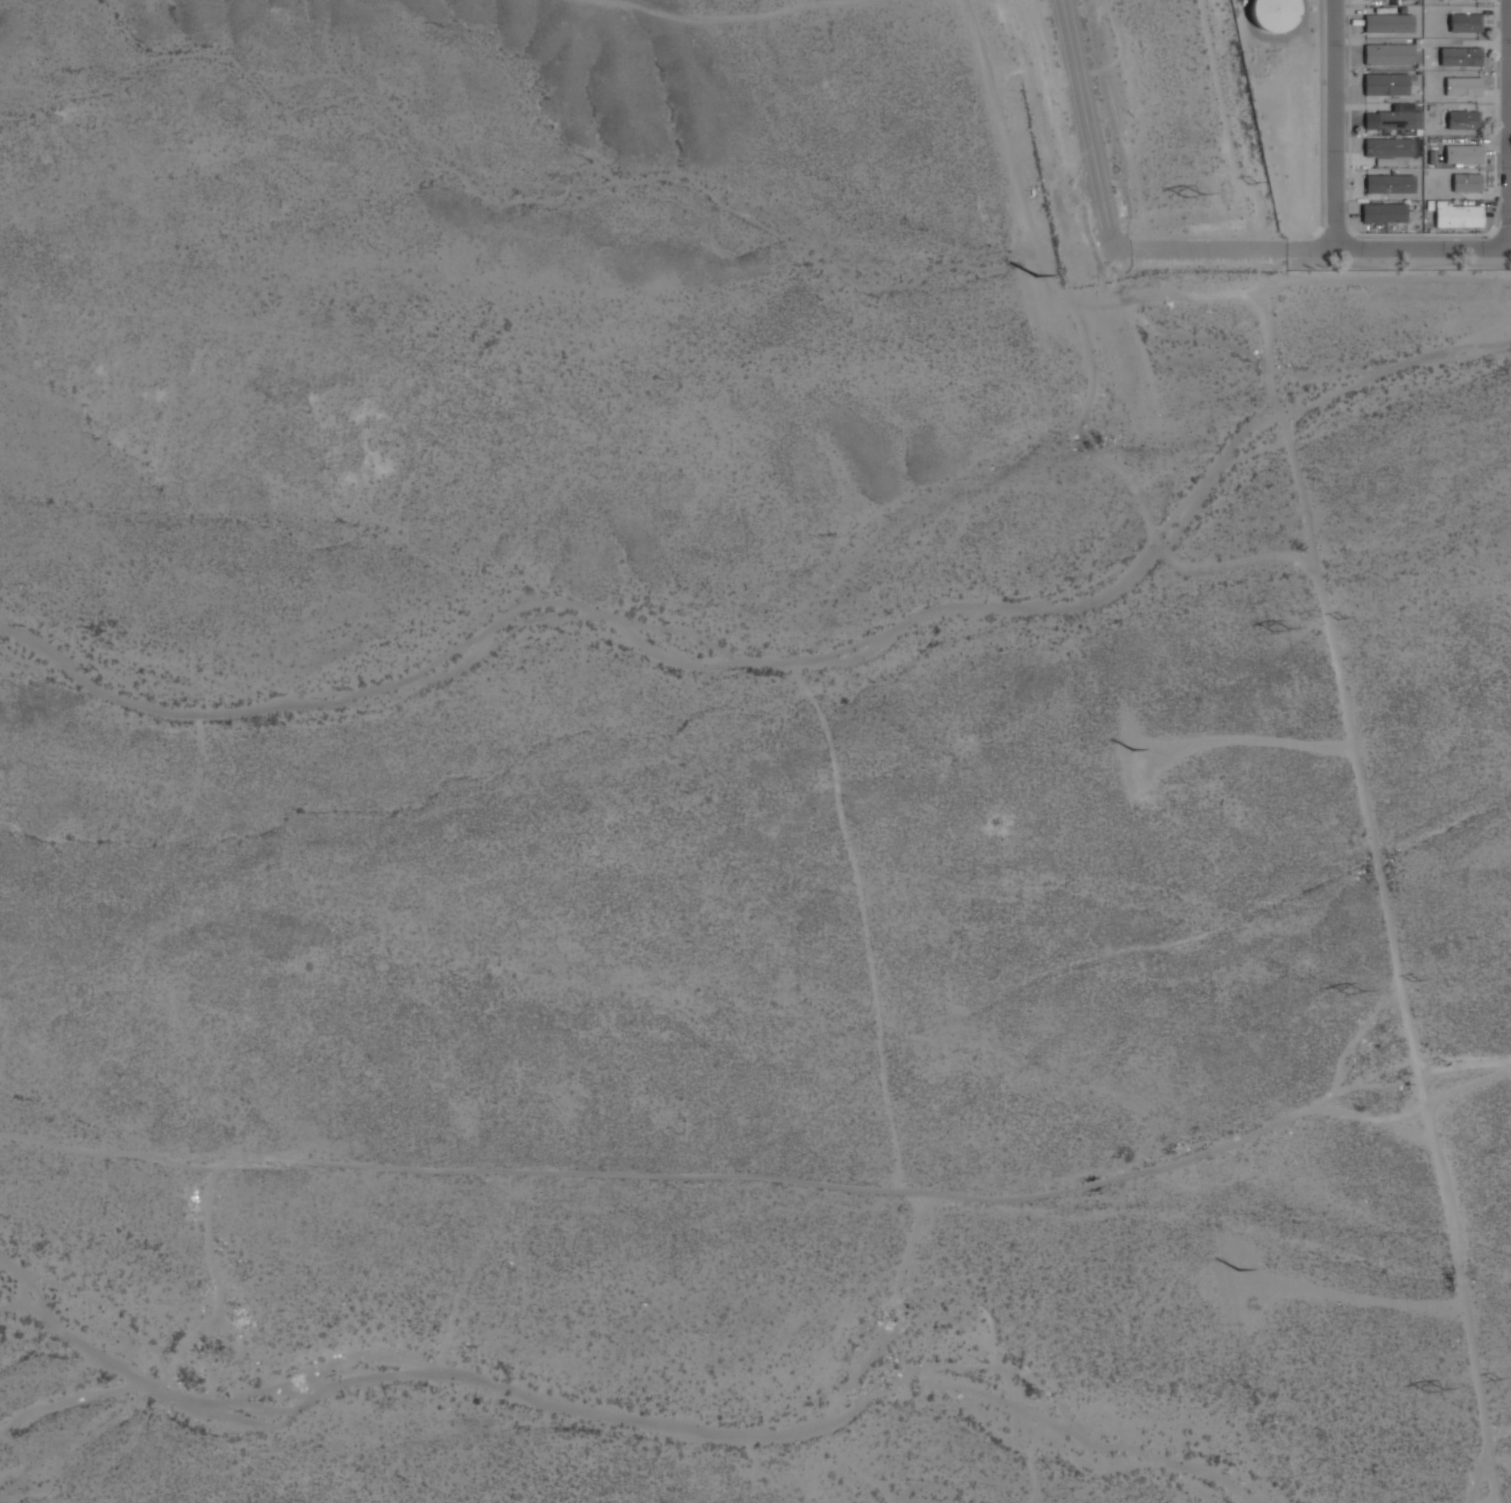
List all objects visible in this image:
building: (1276, 14)
storage tank: (1276, 14)
building: (1466, 24)
building: (1389, 25)
building: (1389, 56)
building: (1461, 58)
building: (1386, 86)
building: (1463, 88)
building: (1464, 121)
road: (1332, 123)
building: (1396, 123)
road: (1508, 123)
road: (1087, 124)
building: (1389, 149)
building: (1464, 155)
power tower: (1254, 183)
building: (1467, 184)
building: (1390, 185)
power tower: (1192, 193)
building: (1385, 214)
building: (1459, 217)
road: (1312, 247)
power tower: (1036, 274)
power tower: (1342, 619)
power tower: (1282, 633)
power tower: (1135, 750)
power tower: (1416, 981)
power tower: (1356, 993)
power tower: (1240, 1268)
power tower: (1497, 1378)
power tower: (1435, 1393)

